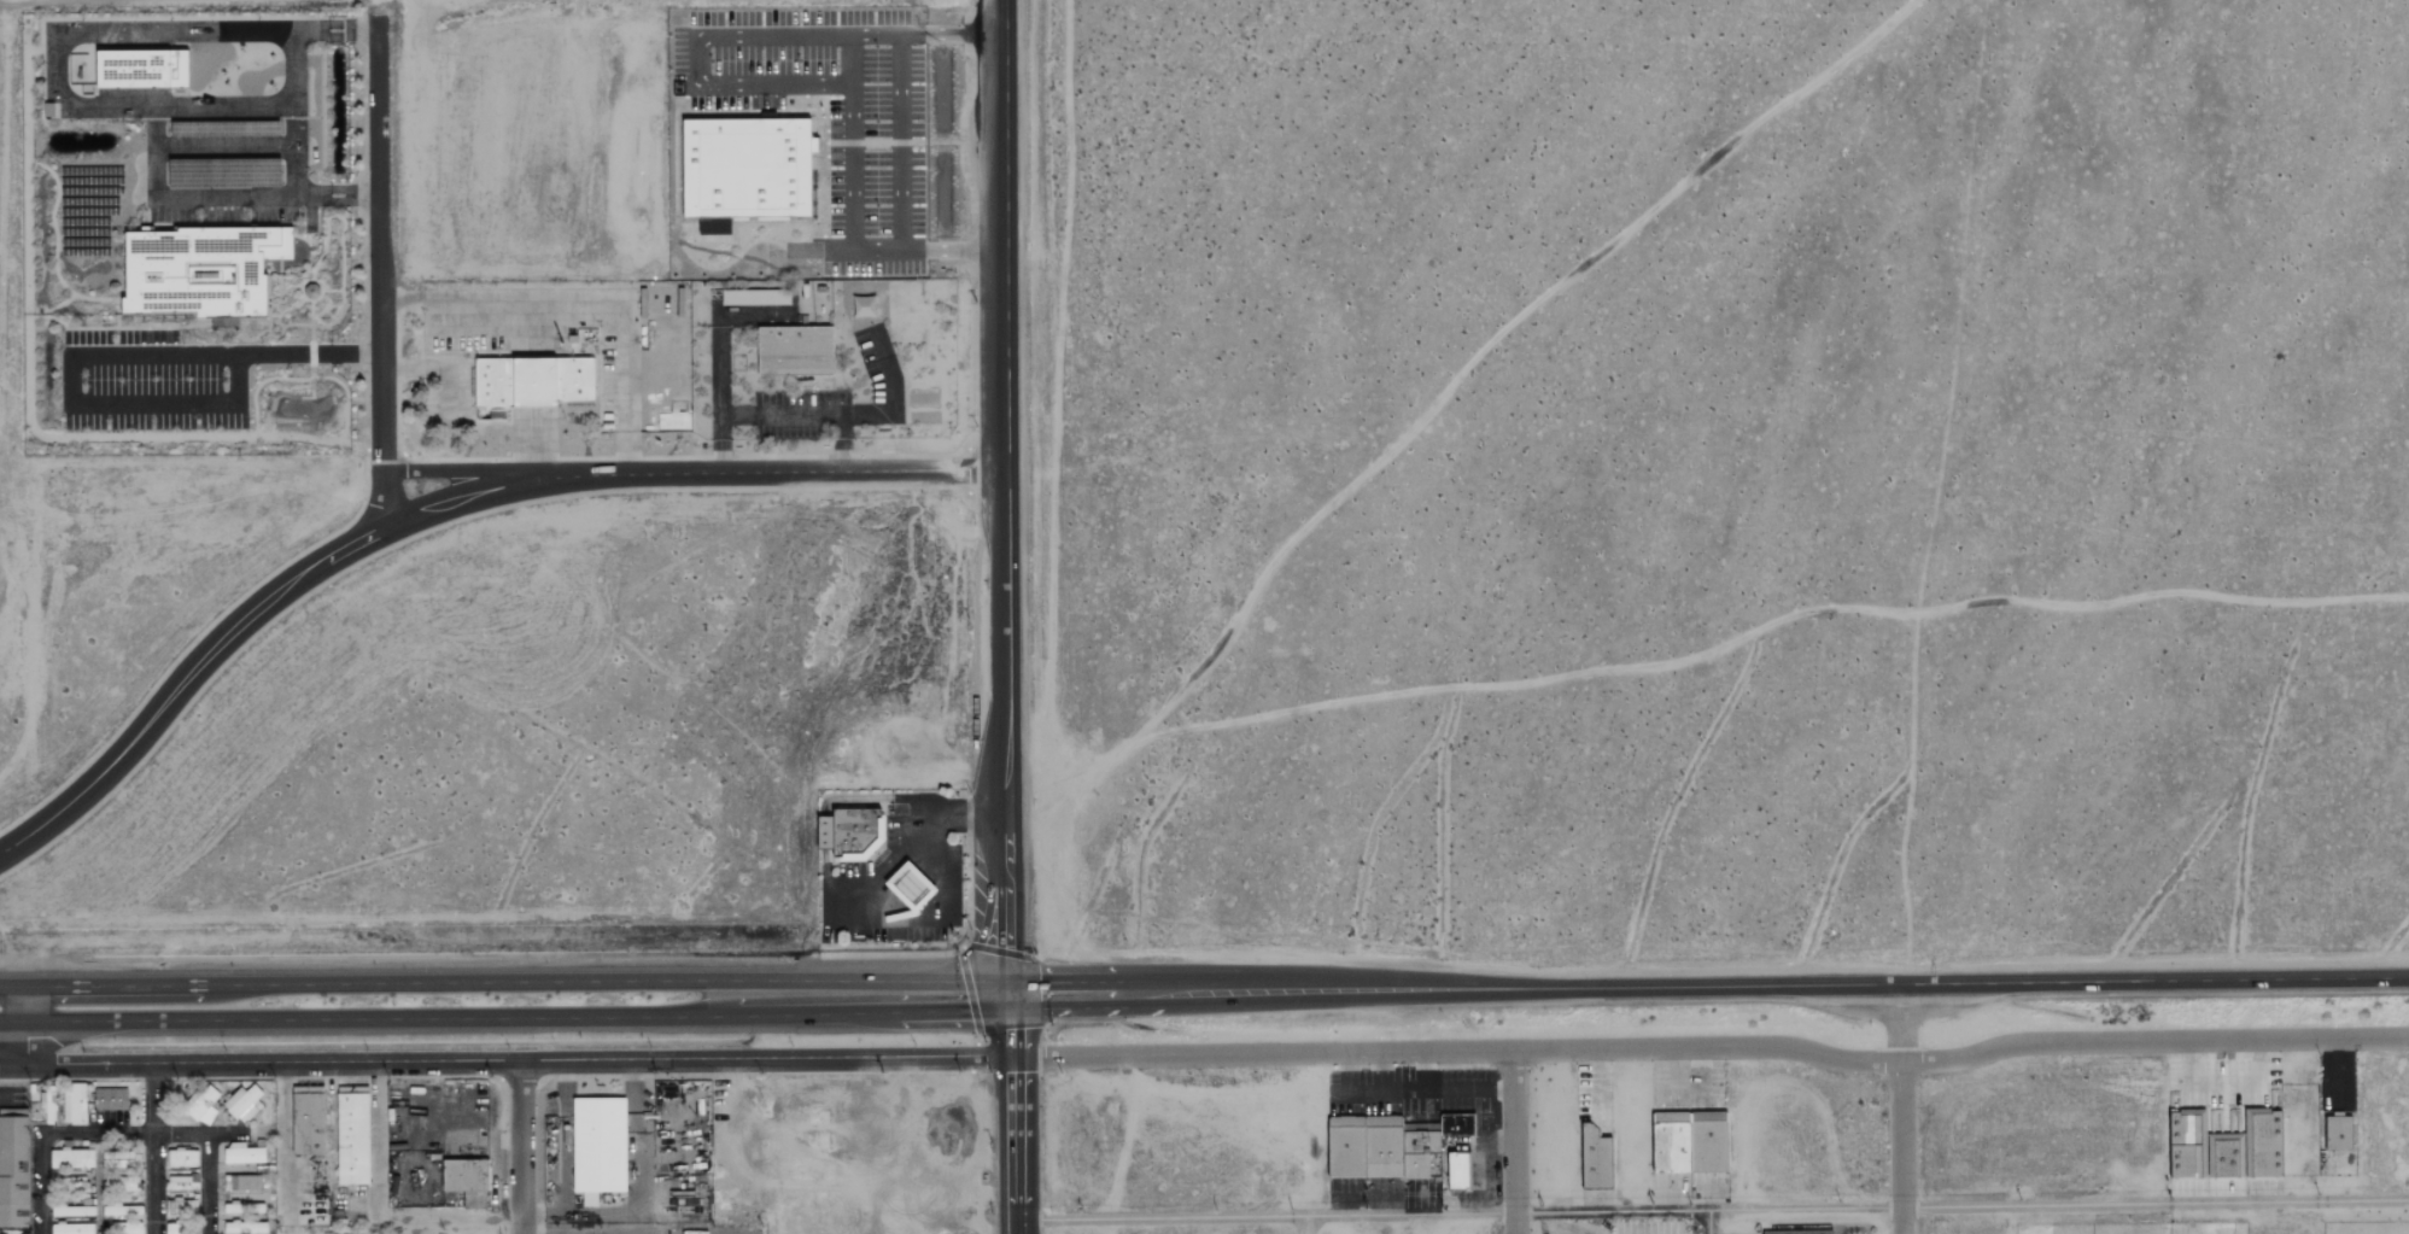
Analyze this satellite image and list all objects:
road: (853, 59)
building: (141, 70)
road: (756, 84)
road: (900, 141)
building: (747, 171)
road: (273, 199)
road: (379, 244)
building: (201, 271)
road: (583, 308)
building: (795, 352)
road: (88, 355)
road: (440, 369)
building: (530, 384)
road: (894, 397)
road: (779, 411)
road: (531, 443)
road: (456, 470)
road: (381, 495)
road: (1004, 497)
road: (438, 503)
road: (823, 806)
building: (850, 832)
road: (881, 858)
parking lot: (899, 878)
gas station: (908, 885)
road: (875, 887)
building: (911, 888)
road: (508, 979)
road: (1924, 984)
road: (1305, 990)
road: (1093, 992)
traffic signals: (1015, 994)
road: (794, 1014)
road: (936, 1016)
road: (367, 1018)
road: (17, 1022)
road: (1715, 1048)
road: (508, 1062)
building: (110, 1099)
road: (156, 1100)
building: (74, 1103)
building: (244, 1103)
building: (47, 1105)
building: (201, 1106)
road: (1901, 1109)
road: (1018, 1113)
building: (308, 1119)
building: (1456, 1125)
building: (2339, 1131)
road: (99, 1134)
road: (181, 1134)
road: (224, 1134)
building: (352, 1134)
building: (1421, 1141)
building: (1690, 1141)
road: (1515, 1142)
building: (600, 1144)
building: (2185, 1144)
building: (2262, 1144)
building: (1346, 1146)
building: (1384, 1146)
road: (520, 1147)
building: (242, 1154)
building: (2223, 1156)
building: (181, 1157)
building: (71, 1158)
building: (1595, 1159)
building: (119, 1160)
building: (1415, 1165)
building: (1457, 1170)
building: (14, 1171)
building: (464, 1175)
building: (241, 1182)
road: (42, 1183)
building: (121, 1183)
building: (181, 1183)
road: (207, 1183)
road: (156, 1185)
road: (2154, 1203)
building: (122, 1210)
road: (1708, 1210)
building: (66, 1211)
road: (1267, 1216)
road: (1709, 1222)
road: (1306, 1224)
building: (245, 1227)
building: (71, 1228)
building: (181, 1228)
building: (1787, 1232)
building: (1829, 1232)

